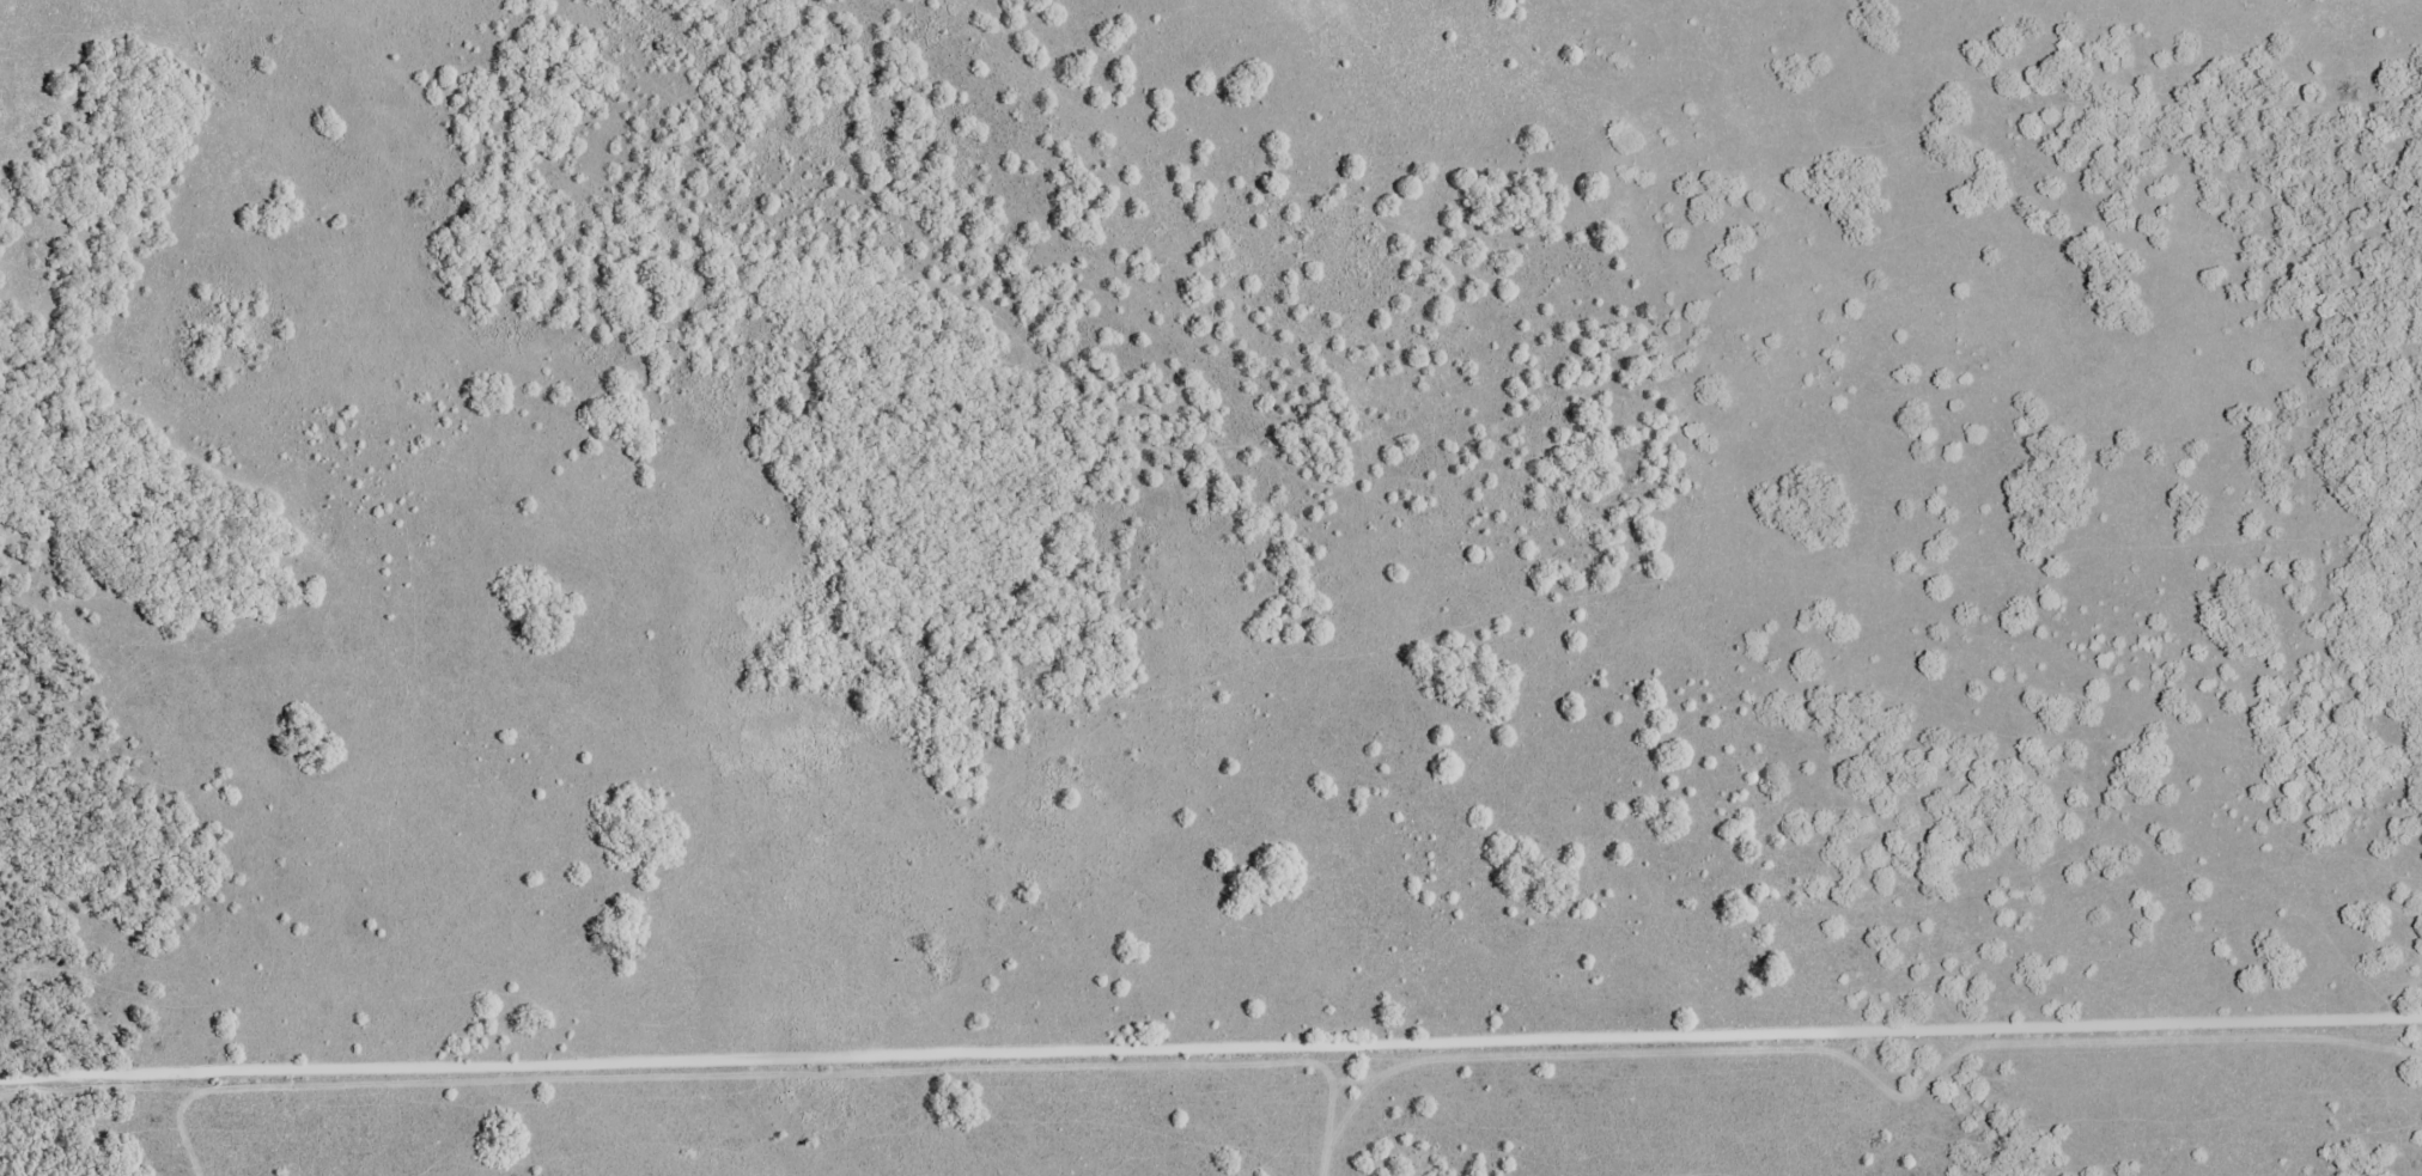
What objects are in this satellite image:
road: (2235, 425)

